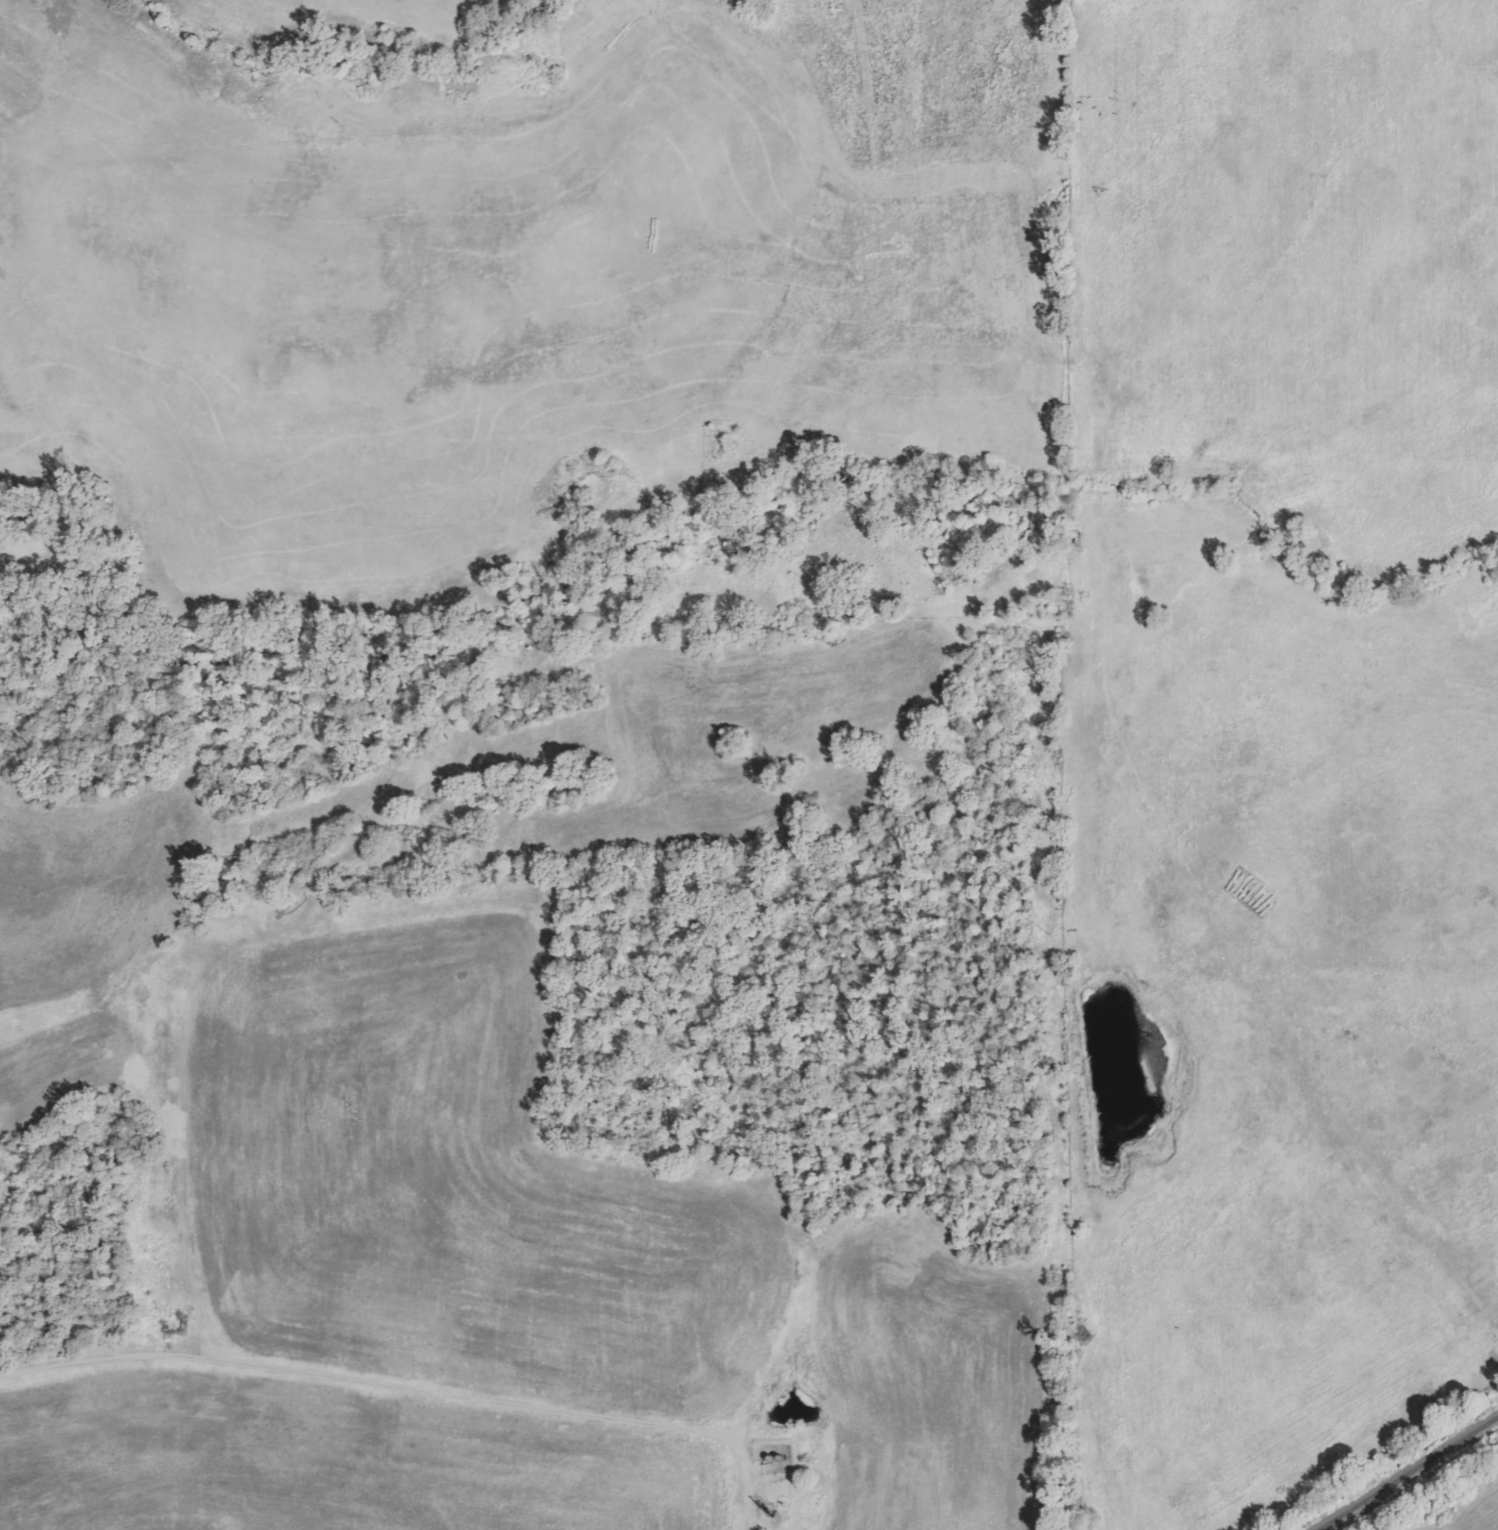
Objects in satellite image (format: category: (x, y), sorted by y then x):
railway: (1408, 1473)

